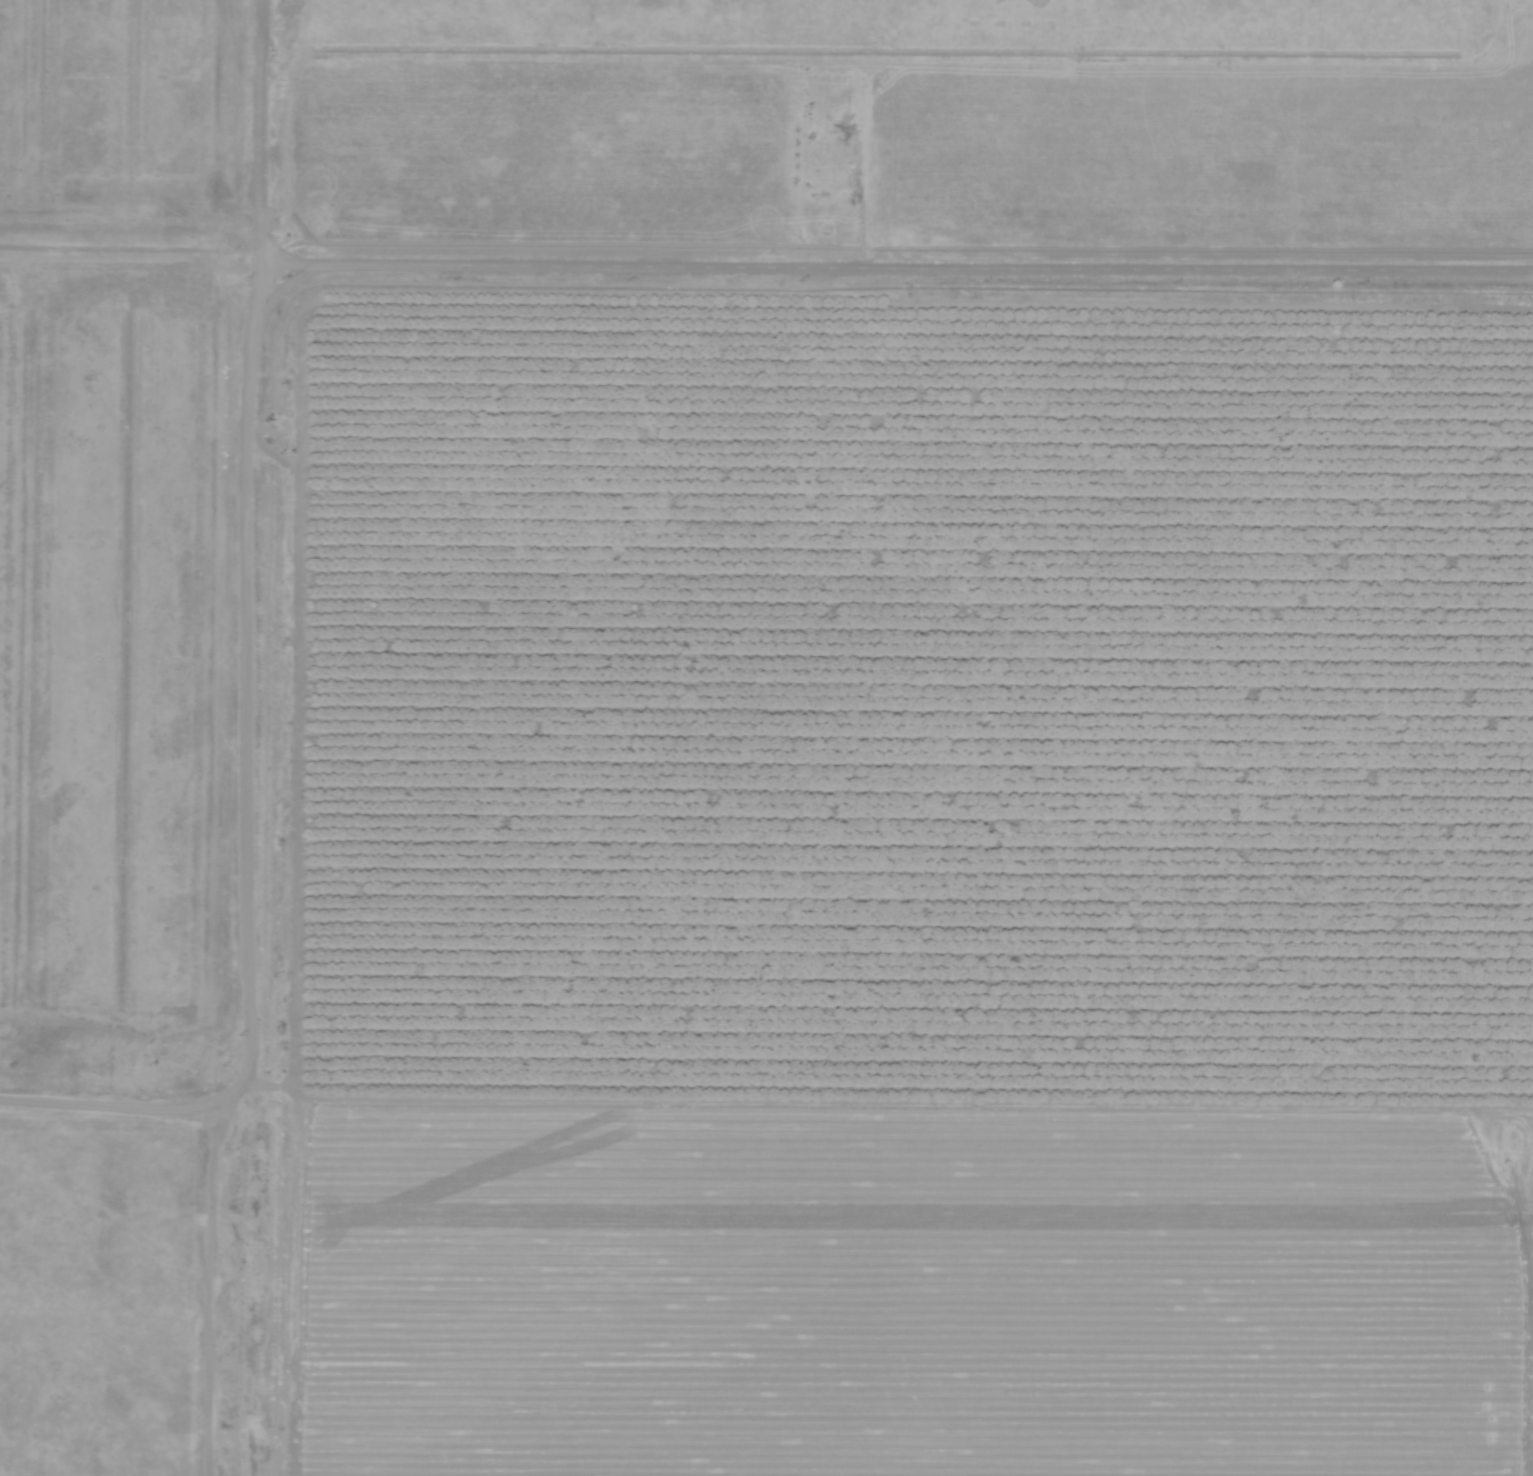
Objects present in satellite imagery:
road: (252, 152)
road: (385, 273)
road: (124, 539)
crop: (891, 761)
road: (208, 1285)

